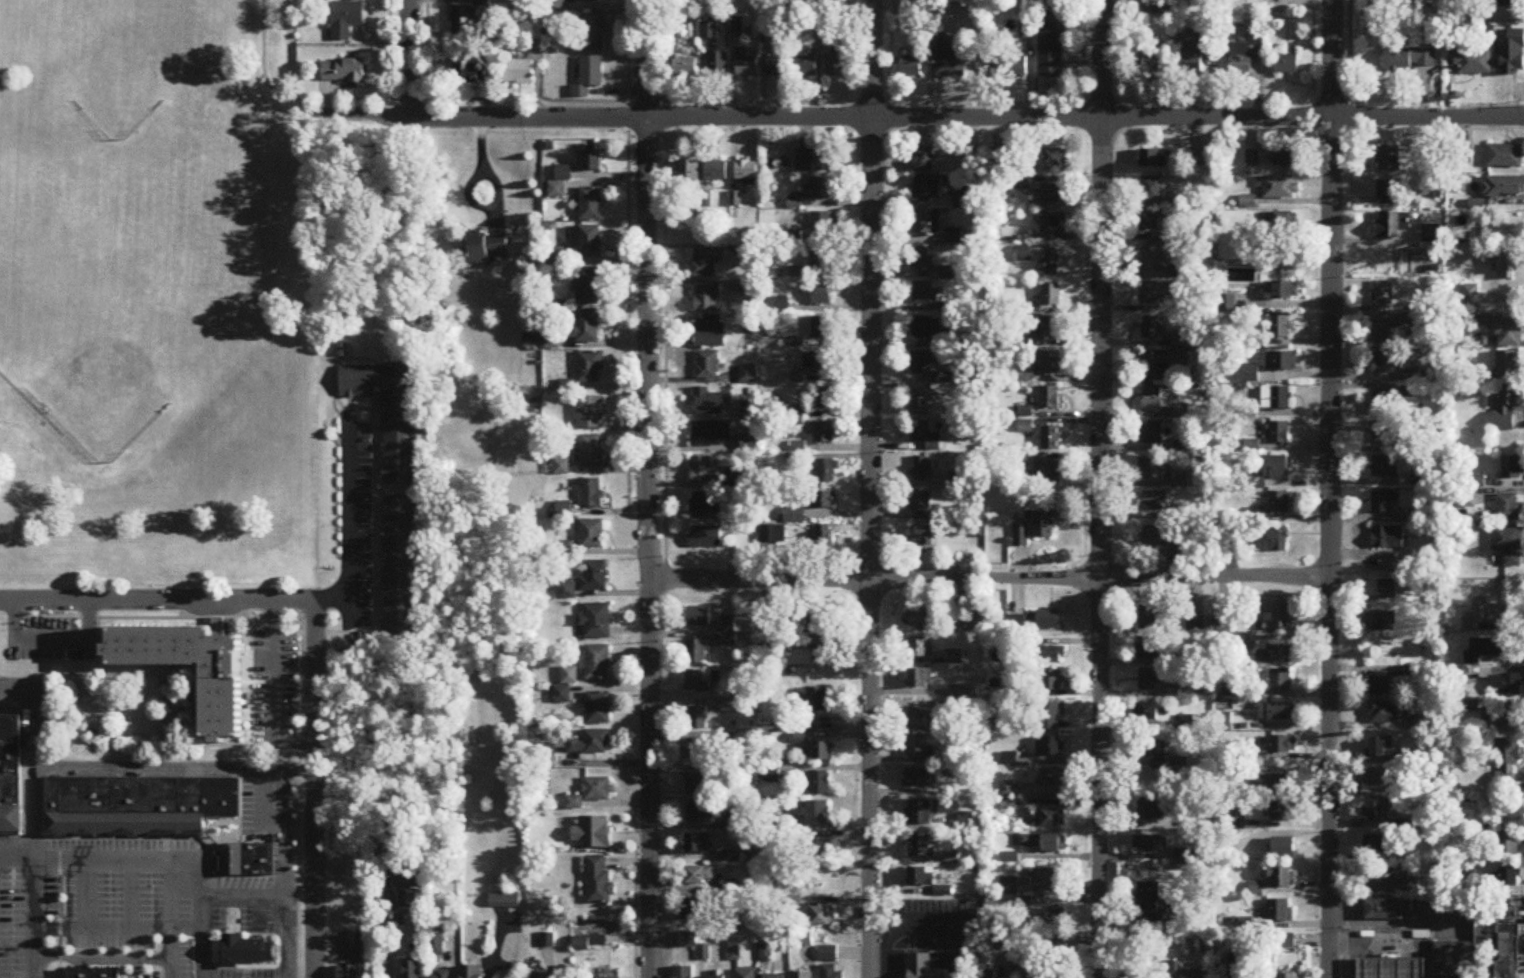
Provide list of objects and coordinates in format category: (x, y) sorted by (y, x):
building: (589, 1)
building: (1507, 3)
building: (1162, 7)
building: (910, 10)
building: (346, 20)
building: (463, 22)
building: (534, 30)
building: (708, 31)
building: (593, 33)
building: (1454, 37)
road: (384, 49)
road: (426, 49)
road: (853, 49)
building: (1050, 49)
building: (945, 56)
building: (1514, 56)
road: (262, 58)
road: (408, 58)
building: (1241, 59)
building: (1409, 59)
building: (1192, 62)
building: (1472, 62)
building: (745, 65)
building: (1153, 65)
building: (1286, 65)
building: (718, 66)
building: (806, 66)
building: (836, 66)
road: (889, 66)
building: (778, 67)
building: (685, 68)
building: (911, 68)
building: (1009, 68)
building: (343, 71)
building: (518, 73)
building: (465, 75)
building: (589, 77)
road: (1100, 96)
road: (461, 98)
road: (1329, 98)
road: (645, 99)
road: (909, 120)
building: (998, 157)
building: (1505, 157)
building: (1055, 158)
building: (1252, 158)
building: (1284, 158)
building: (1158, 159)
building: (1390, 160)
building: (814, 161)
building: (923, 162)
building: (593, 163)
building: (716, 172)
building: (746, 172)
building: (564, 174)
building: (688, 174)
building: (1278, 187)
building: (1503, 187)
building: (926, 189)
building: (818, 190)
building: (1152, 190)
building: (1390, 192)
building: (1049, 194)
building: (959, 202)
building: (591, 204)
building: (1285, 221)
building: (1152, 222)
building: (925, 224)
building: (820, 225)
building: (1393, 225)
building: (1055, 227)
building: (587, 242)
building: (486, 248)
building: (555, 257)
building: (821, 258)
building: (1152, 258)
building: (922, 259)
building: (705, 263)
building: (1052, 265)
building: (1509, 265)
building: (588, 287)
building: (1279, 290)
building: (924, 293)
building: (1158, 293)
building: (1382, 293)
building: (821, 294)
building: (1052, 296)
building: (707, 298)
road: (627, 306)
building: (1276, 326)
building: (586, 327)
building: (926, 328)
building: (821, 329)
building: (1045, 329)
building: (1152, 329)
building: (1508, 332)
building: (708, 333)
building: (1381, 334)
building: (1178, 340)
building: (1281, 361)
building: (921, 363)
building: (1047, 363)
building: (1386, 363)
building: (1507, 363)
building: (1161, 364)
building: (818, 365)
building: (707, 366)
building: (589, 368)
building: (824, 398)
building: (1275, 398)
building: (1049, 399)
building: (1154, 399)
building: (708, 403)
building: (921, 403)
building: (1380, 404)
road: (29, 405)
building: (1506, 409)
building: (1181, 412)
building: (590, 413)
building: (388, 415)
road: (42, 422)
building: (1381, 432)
building: (823, 433)
building: (1279, 433)
building: (710, 434)
building: (1151, 434)
building: (925, 436)
building: (1050, 439)
building: (591, 452)
building: (1276, 468)
building: (1382, 468)
building: (1513, 468)
building: (923, 470)
building: (1151, 470)
building: (703, 471)
building: (827, 472)
building: (1048, 478)
road: (409, 488)
road: (869, 488)
road: (1100, 488)
road: (1327, 488)
road: (646, 489)
building: (591, 494)
building: (823, 501)
building: (1154, 501)
building: (1383, 502)
building: (1278, 503)
building: (706, 504)
building: (925, 507)
building: (1509, 508)
road: (607, 511)
road: (371, 516)
building: (794, 516)
road: (347, 523)
building: (1044, 527)
building: (773, 535)
building: (591, 536)
building: (924, 536)
building: (1021, 537)
building: (706, 538)
building: (1387, 538)
building: (1277, 540)
building: (1157, 541)
building: (822, 544)
building: (1508, 545)
building: (1387, 565)
building: (397, 568)
building: (594, 577)
road: (987, 580)
building: (1387, 590)
road: (330, 599)
road: (111, 617)
road: (216, 617)
road: (236, 617)
building: (698, 617)
building: (1486, 617)
building: (1147, 619)
building: (1277, 619)
building: (926, 620)
building: (1048, 620)
building: (1380, 622)
building: (596, 623)
building: (973, 624)
building: (1223, 624)
building: (216, 625)
building: (728, 625)
road: (217, 626)
road: (314, 631)
road: (50, 638)
road: (96, 646)
building: (920, 649)
building: (1148, 649)
building: (1486, 649)
building: (697, 653)
building: (824, 655)
building: (1051, 656)
building: (1274, 656)
building: (994, 657)
building: (956, 658)
road: (50, 661)
building: (596, 664)
road: (182, 674)
building: (921, 679)
building: (1051, 681)
building: (1151, 681)
building: (1278, 681)
building: (696, 682)
building: (1381, 685)
building: (1506, 685)
road: (47, 686)
road: (272, 691)
building: (1233, 691)
building: (963, 692)
building: (1172, 693)
building: (817, 700)
building: (220, 707)
building: (598, 709)
building: (1149, 713)
building: (1277, 713)
building: (1384, 713)
building: (1051, 717)
building: (1503, 717)
building: (697, 719)
building: (918, 721)
building: (591, 744)
building: (1283, 746)
building: (917, 747)
building: (1050, 747)
building: (1379, 748)
building: (1150, 749)
building: (697, 750)
building: (822, 752)
road: (23, 760)
building: (1507, 761)
road: (297, 764)
road: (149, 770)
building: (9, 771)
building: (917, 778)
building: (1052, 778)
building: (1379, 779)
building: (699, 783)
building: (819, 783)
building: (1277, 785)
building: (592, 793)
building: (136, 804)
building: (1150, 812)
building: (1283, 812)
building: (700, 813)
building: (817, 813)
building: (921, 813)
building: (1377, 814)
building: (1472, 816)
building: (20, 817)
road: (238, 817)
building: (1051, 819)
road: (34, 820)
road: (217, 822)
road: (10, 831)
road: (33, 833)
building: (592, 835)
road: (100, 836)
building: (1042, 843)
building: (699, 845)
building: (1149, 846)
building: (921, 847)
building: (1508, 847)
building: (819, 848)
building: (1375, 848)
road: (284, 853)
building: (245, 859)
road: (116, 861)
building: (216, 862)
road: (216, 862)
road: (217, 862)
building: (700, 878)
building: (921, 878)
building: (1049, 878)
building: (1379, 878)
building: (1280, 879)
building: (1509, 879)
building: (599, 881)
road: (216, 885)
road: (58, 886)
building: (1410, 889)
road: (634, 890)
road: (1362, 891)
road: (85, 893)
road: (129, 894)
building: (407, 900)
building: (504, 902)
building: (1150, 907)
building: (694, 911)
building: (1384, 911)
building: (1279, 912)
building: (1056, 917)
building: (821, 918)
building: (230, 921)
road: (118, 926)
road: (1346, 934)
road: (202, 936)
building: (688, 941)
building: (1286, 943)
building: (435, 944)
road: (1380, 945)
building: (589, 946)
building: (1479, 948)
building: (242, 950)
road: (169, 951)
building: (704, 953)
building: (828, 955)
road: (58, 957)
road: (100, 960)
road: (1353, 961)
building: (1236, 963)
road: (244, 966)
building: (936, 966)
building: (1393, 967)
road: (1421, 967)
road: (119, 969)
building: (411, 970)
building: (1028, 971)
building: (91, 972)
road: (214, 972)
road: (275, 972)
building: (348, 972)
building: (472, 972)
building: (831, 972)
building: (1061, 972)
building: (683, 973)
road: (132, 974)
building: (442, 974)
building: (745, 974)
building: (984, 974)
building: (1194, 974)
building: (538, 975)
building: (801, 975)
road: (132, 976)
building: (1288, 976)
building: (714, 977)
building: (774, 977)

